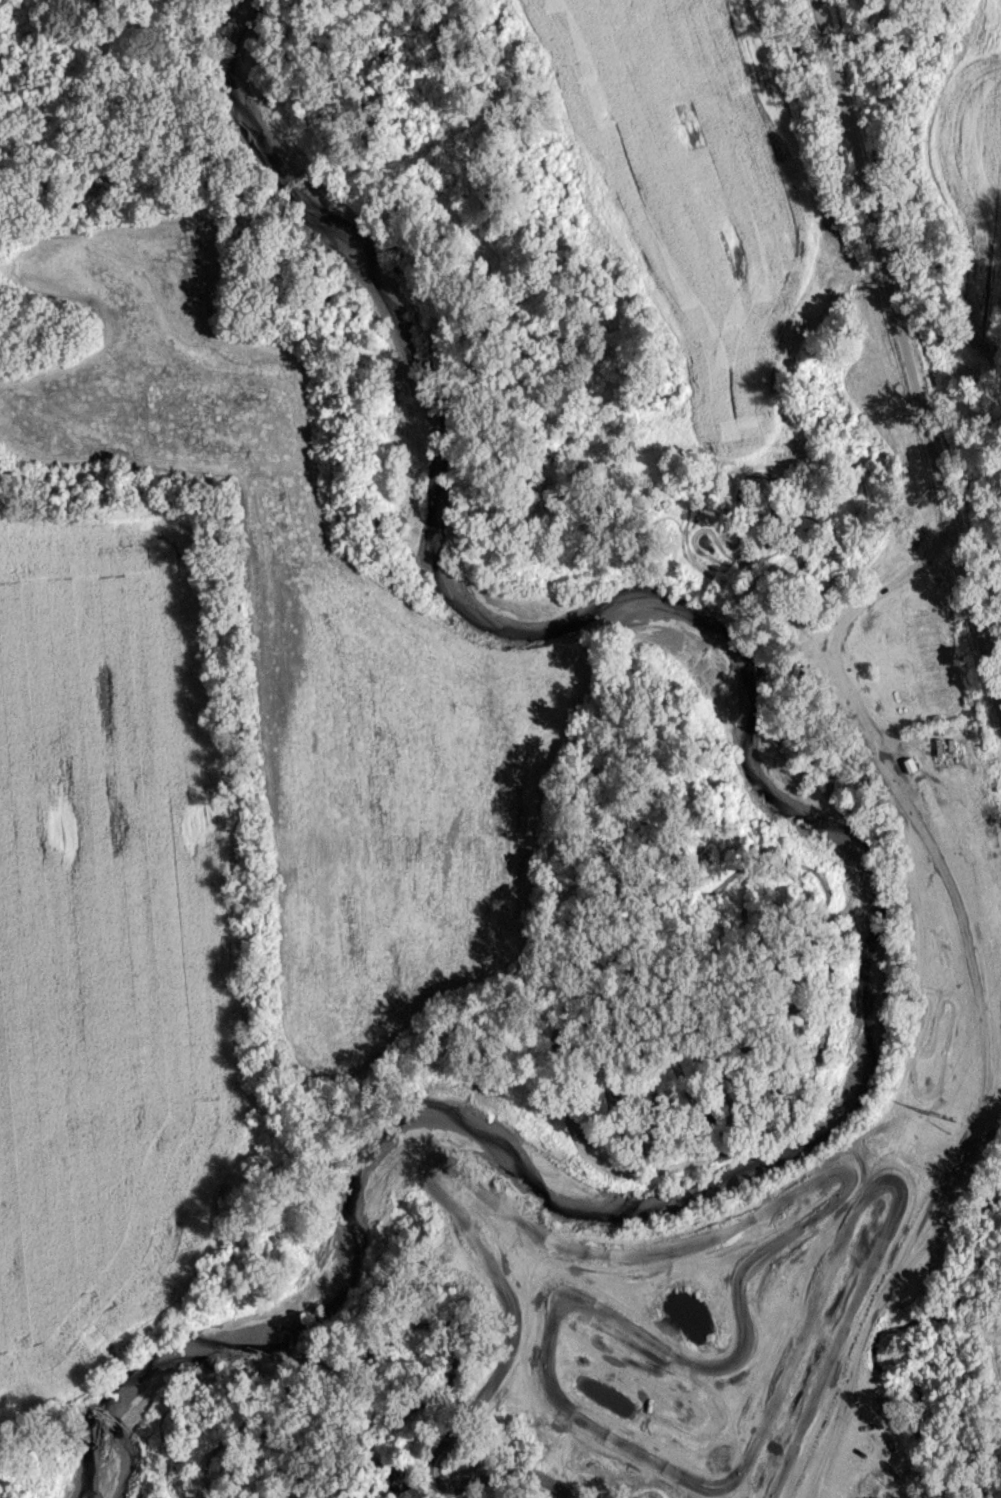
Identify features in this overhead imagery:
power tower: (943, 1115)

